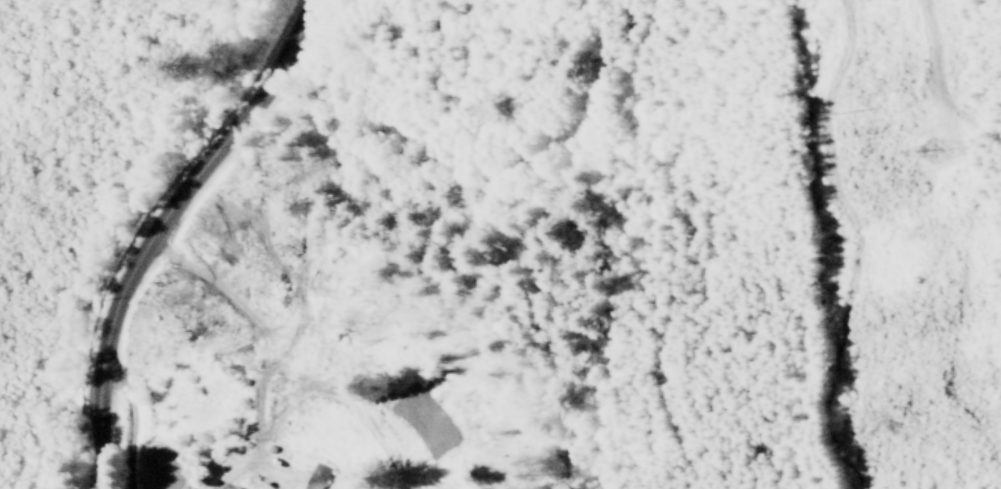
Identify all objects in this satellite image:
power tower: (829, 111)
power tower: (927, 149)
road: (155, 227)

